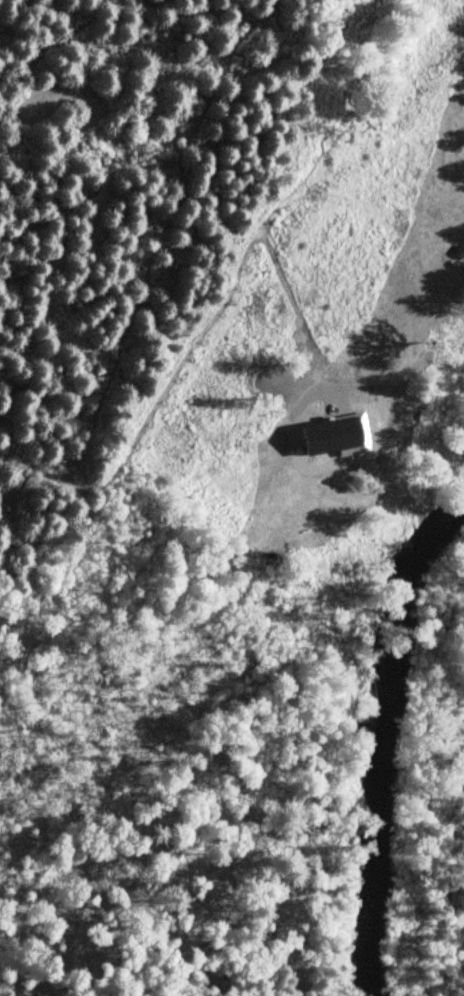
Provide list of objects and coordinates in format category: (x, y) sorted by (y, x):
road: (378, 114)
river: (383, 742)

